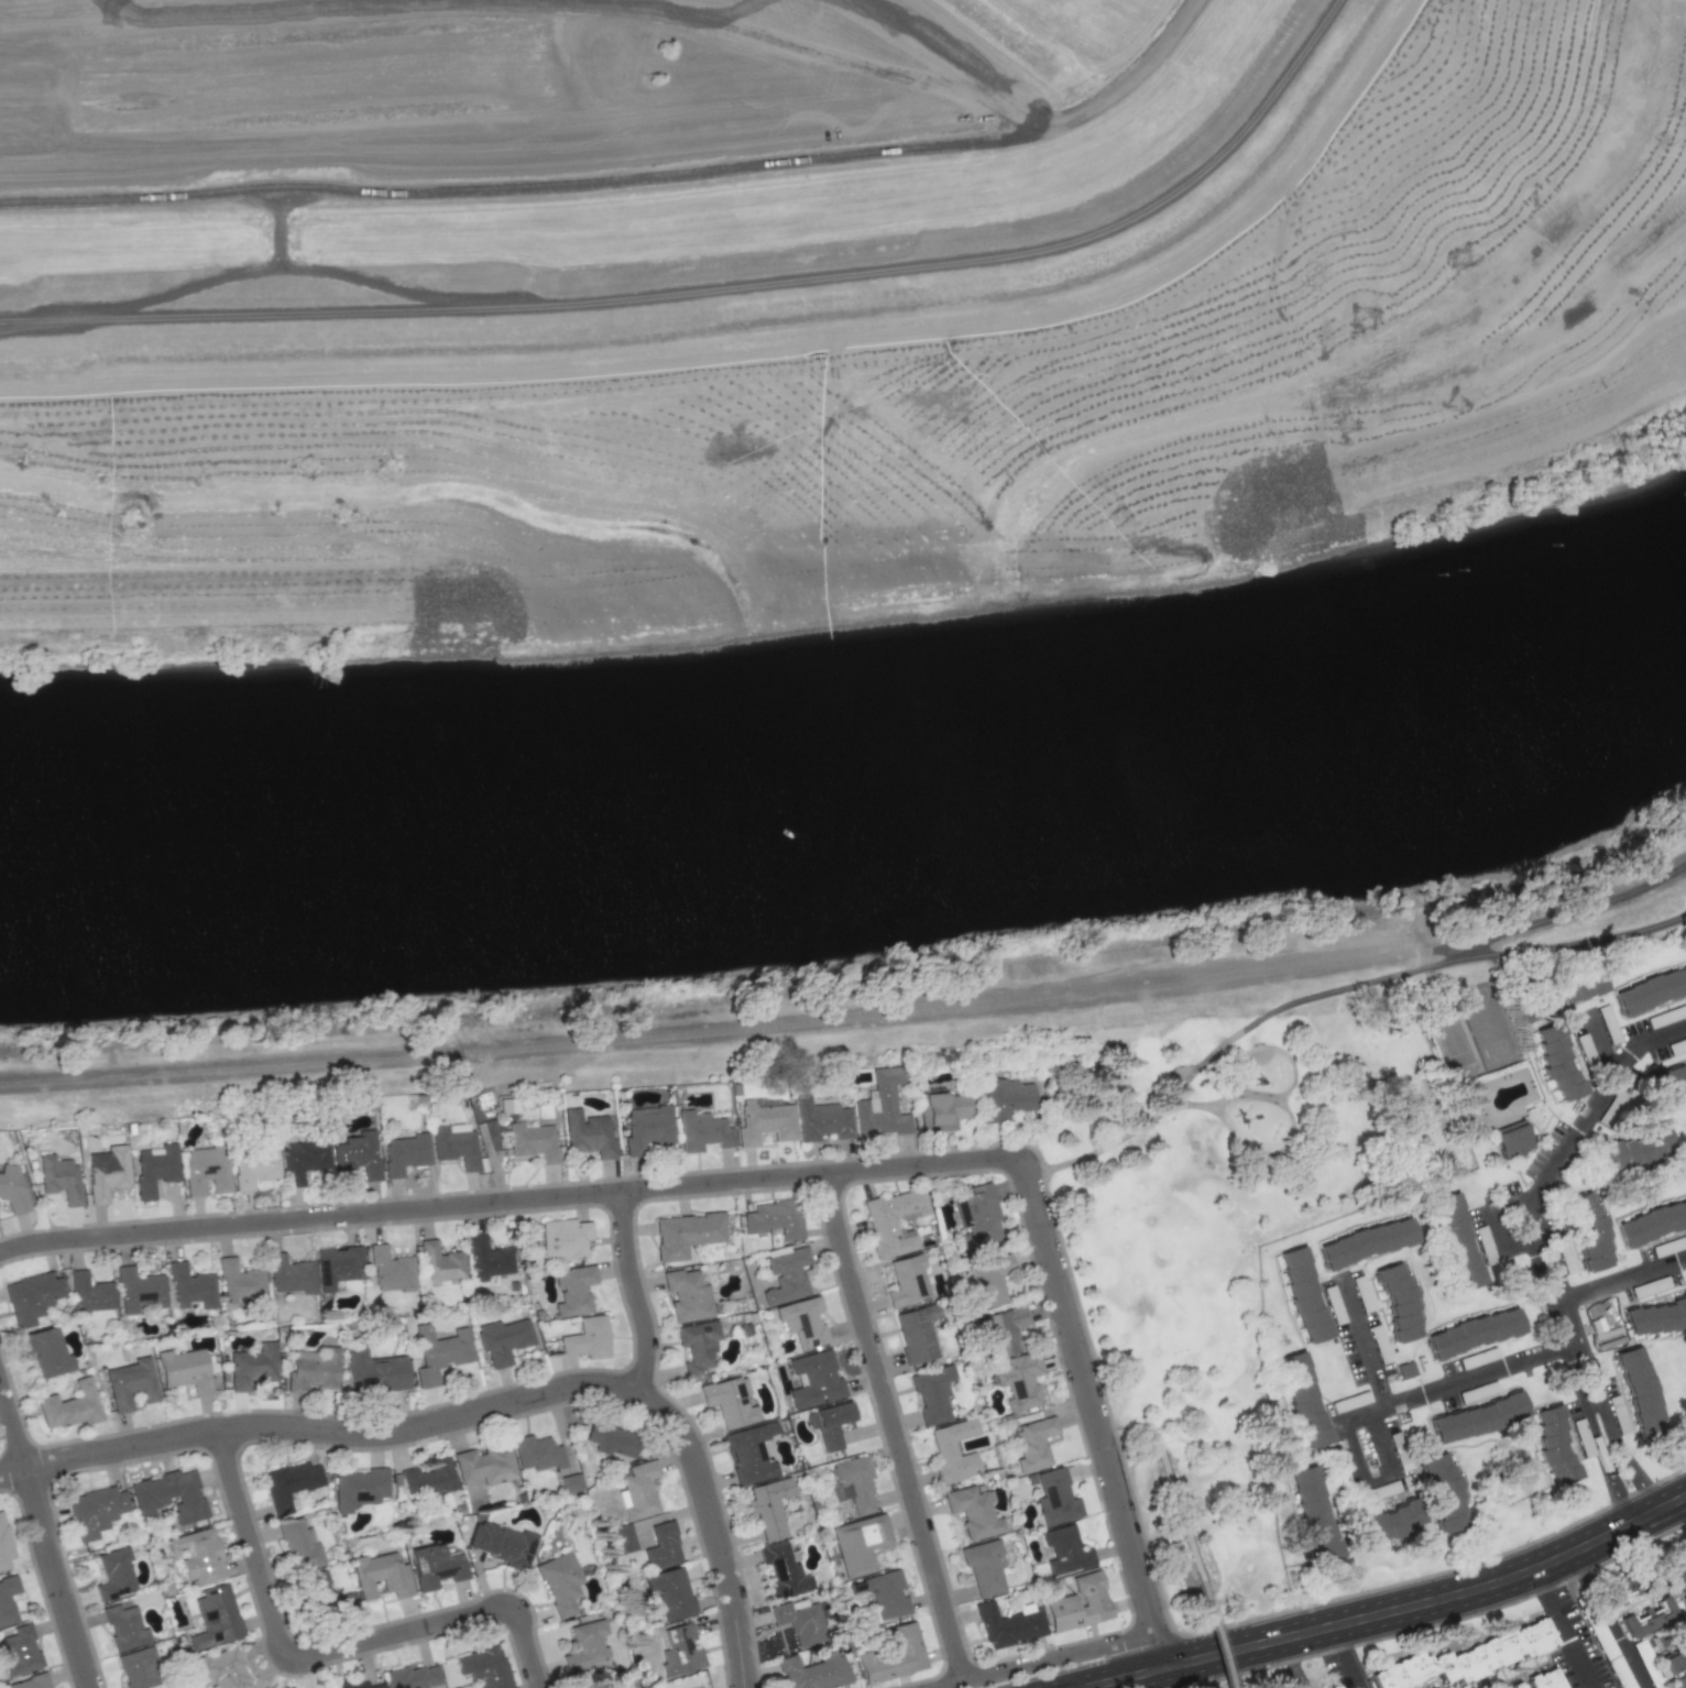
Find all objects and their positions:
road: (1514, 436)
road: (205, 603)
river: (851, 805)
road: (1574, 911)
road: (1333, 990)
building: (1651, 990)
building: (1565, 994)
road: (731, 1031)
building: (1556, 1061)
building: (1667, 1079)
building: (1006, 1097)
building: (882, 1107)
building: (943, 1110)
building: (821, 1120)
building: (765, 1122)
building: (647, 1128)
building: (702, 1131)
building: (589, 1133)
building: (1512, 1140)
building: (533, 1141)
building: (456, 1144)
building: (1632, 1151)
building: (358, 1153)
building: (405, 1153)
building: (303, 1159)
building: (255, 1165)
building: (155, 1168)
building: (107, 1171)
building: (207, 1171)
road: (1550, 1176)
building: (59, 1177)
building: (12, 1190)
park: (1233, 1194)
road: (512, 1199)
building: (775, 1218)
building: (976, 1218)
building: (1651, 1220)
building: (893, 1221)
building: (1588, 1230)
building: (686, 1234)
building: (565, 1238)
building: (1455, 1240)
building: (1365, 1241)
building: (489, 1259)
building: (439, 1263)
building: (337, 1265)
building: (391, 1270)
building: (289, 1274)
building: (786, 1275)
building: (905, 1280)
building: (986, 1280)
road: (1623, 1280)
building: (238, 1281)
building: (190, 1286)
building: (139, 1290)
building: (573, 1290)
building: (90, 1293)
road: (637, 1293)
building: (687, 1294)
building: (1303, 1294)
building: (31, 1297)
building: (1398, 1302)
building: (1654, 1318)
building: (802, 1322)
building: (1003, 1329)
building: (916, 1333)
building: (1472, 1333)
building: (588, 1338)
building: (503, 1339)
road: (1365, 1345)
building: (697, 1347)
building: (46, 1351)
building: (439, 1352)
building: (252, 1366)
building: (313, 1368)
building: (184, 1370)
building: (373, 1372)
building: (814, 1379)
building: (1018, 1380)
road: (1458, 1382)
building: (130, 1383)
building: (1640, 1390)
building: (931, 1393)
building: (730, 1400)
building: (1302, 1400)
building: (70, 1406)
road: (1094, 1411)
road: (478, 1412)
building: (1477, 1417)
building: (829, 1423)
road: (893, 1425)
building: (611, 1439)
road: (1379, 1440)
road: (1620, 1442)
building: (1032, 1444)
building: (1554, 1444)
building: (952, 1450)
road: (1600, 1450)
building: (536, 1453)
building: (749, 1454)
road: (1356, 1462)
building: (484, 1465)
building: (427, 1478)
building: (569, 1482)
building: (854, 1482)
road: (1170, 1482)
building: (289, 1483)
building: (359, 1488)
building: (637, 1489)
building: (1444, 1492)
building: (168, 1494)
building: (1054, 1498)
building: (768, 1506)
building: (95, 1511)
building: (973, 1511)
building: (1313, 1513)
building: (1383, 1524)
road: (45, 1528)
building: (623, 1537)
building: (501, 1543)
building: (858, 1543)
building: (3, 1544)
building: (299, 1545)
building: (661, 1546)
building: (1063, 1550)
building: (198, 1555)
building: (435, 1566)
building: (983, 1566)
building: (781, 1570)
building: (1677, 1571)
building: (114, 1574)
building: (380, 1575)
building: (559, 1581)
building: (1617, 1589)
road: (1547, 1590)
building: (670, 1592)
building: (885, 1593)
building: (321, 1594)
building: (7, 1600)
building: (1079, 1603)
road: (1391, 1614)
building: (216, 1616)
building: (1647, 1618)
building: (799, 1621)
road: (1607, 1621)
building: (1008, 1624)
building: (123, 1626)
road: (1217, 1634)
road: (1340, 1642)
building: (585, 1645)
building: (19, 1649)
road: (1577, 1649)
building: (679, 1651)
road: (325, 1652)
building: (894, 1654)
building: (1465, 1657)
road: (1039, 1659)
road: (1296, 1664)
building: (1674, 1665)
building: (483, 1666)
building: (138, 1668)
building: (222, 1668)
building: (814, 1671)
road: (1355, 1671)
building: (413, 1677)
building: (1543, 1679)
park: (1246, 1681)
building: (30, 1682)
building: (358, 1685)
building: (1514, 1686)
building: (265, 1687)

